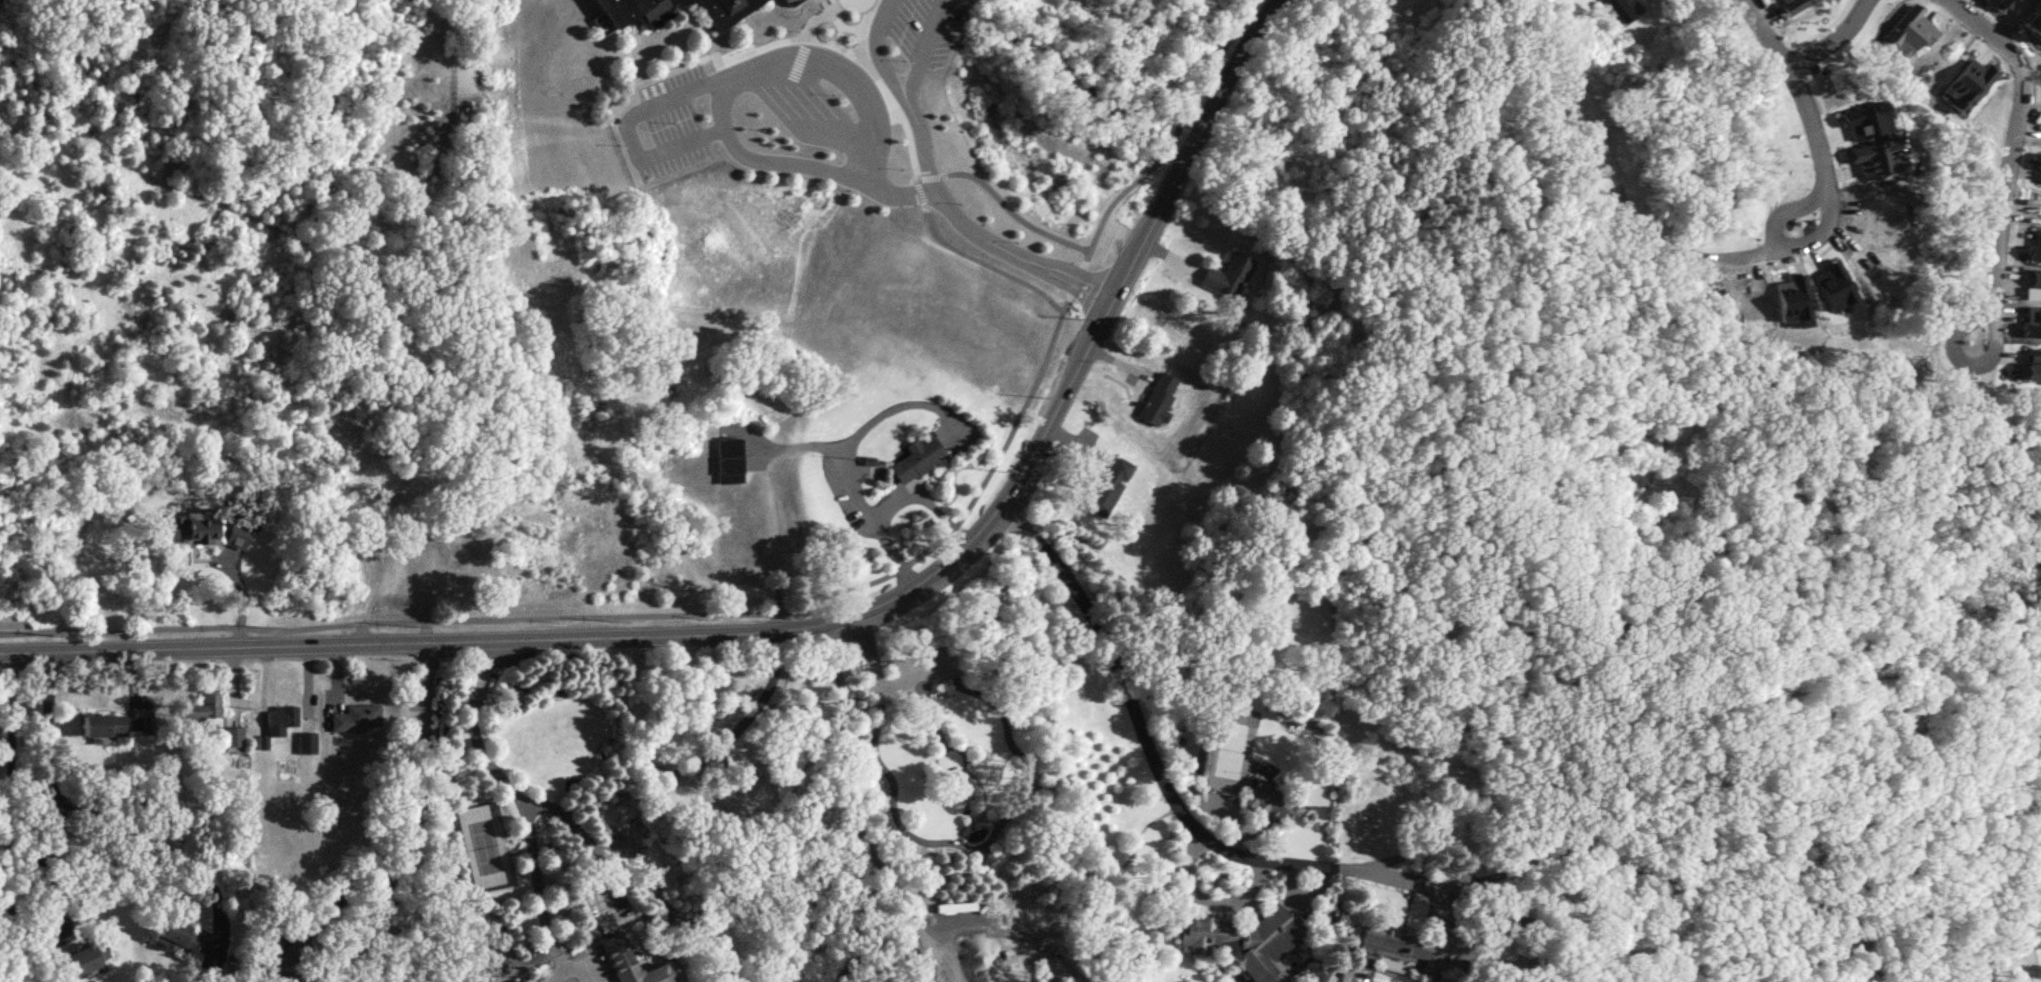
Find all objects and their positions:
building: (789, 1)
building: (1790, 5)
building: (2003, 5)
building: (1623, 8)
building: (637, 10)
building: (725, 10)
building: (1583, 20)
road: (2011, 20)
building: (2035, 30)
road: (1829, 39)
road: (924, 48)
park: (550, 54)
road: (1797, 88)
road: (721, 101)
road: (808, 115)
parking lot: (664, 124)
road: (627, 125)
road: (2015, 156)
road: (927, 175)
road: (914, 177)
road: (916, 190)
road: (937, 190)
road: (1009, 211)
building: (1856, 235)
road: (1781, 240)
road: (981, 262)
building: (1227, 275)
building: (1157, 398)
road: (902, 402)
road: (788, 443)
building: (912, 458)
building: (725, 460)
building: (1107, 486)
road: (923, 498)
building: (228, 557)
road: (247, 583)
road: (788, 604)
road: (808, 625)
road: (878, 680)
building: (206, 705)
building: (359, 716)
building: (283, 718)
building: (106, 724)
building: (236, 738)
building: (309, 741)
road: (513, 788)
building: (1268, 802)
building: (733, 805)
road: (100, 813)
road: (851, 813)
road: (10, 821)
road: (416, 823)
road: (55, 848)
road: (1341, 867)
road: (640, 868)
road: (344, 891)
road: (961, 931)
building: (185, 934)
building: (1244, 941)
building: (1407, 942)
building: (968, 948)
building: (1495, 949)
building: (95, 956)
building: (623, 963)
building: (1961, 973)
building: (296, 974)

